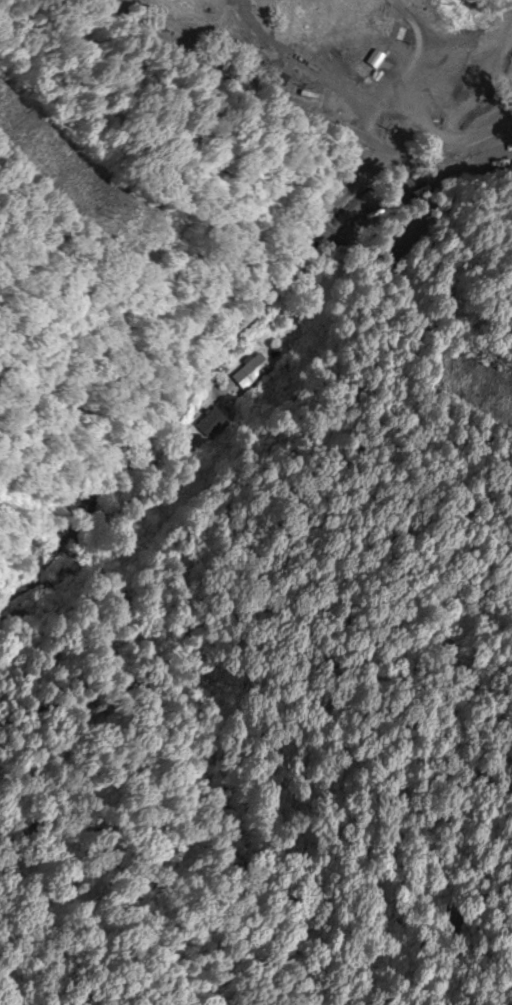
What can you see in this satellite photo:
building: (405, 33)
road: (303, 119)
road: (163, 378)

